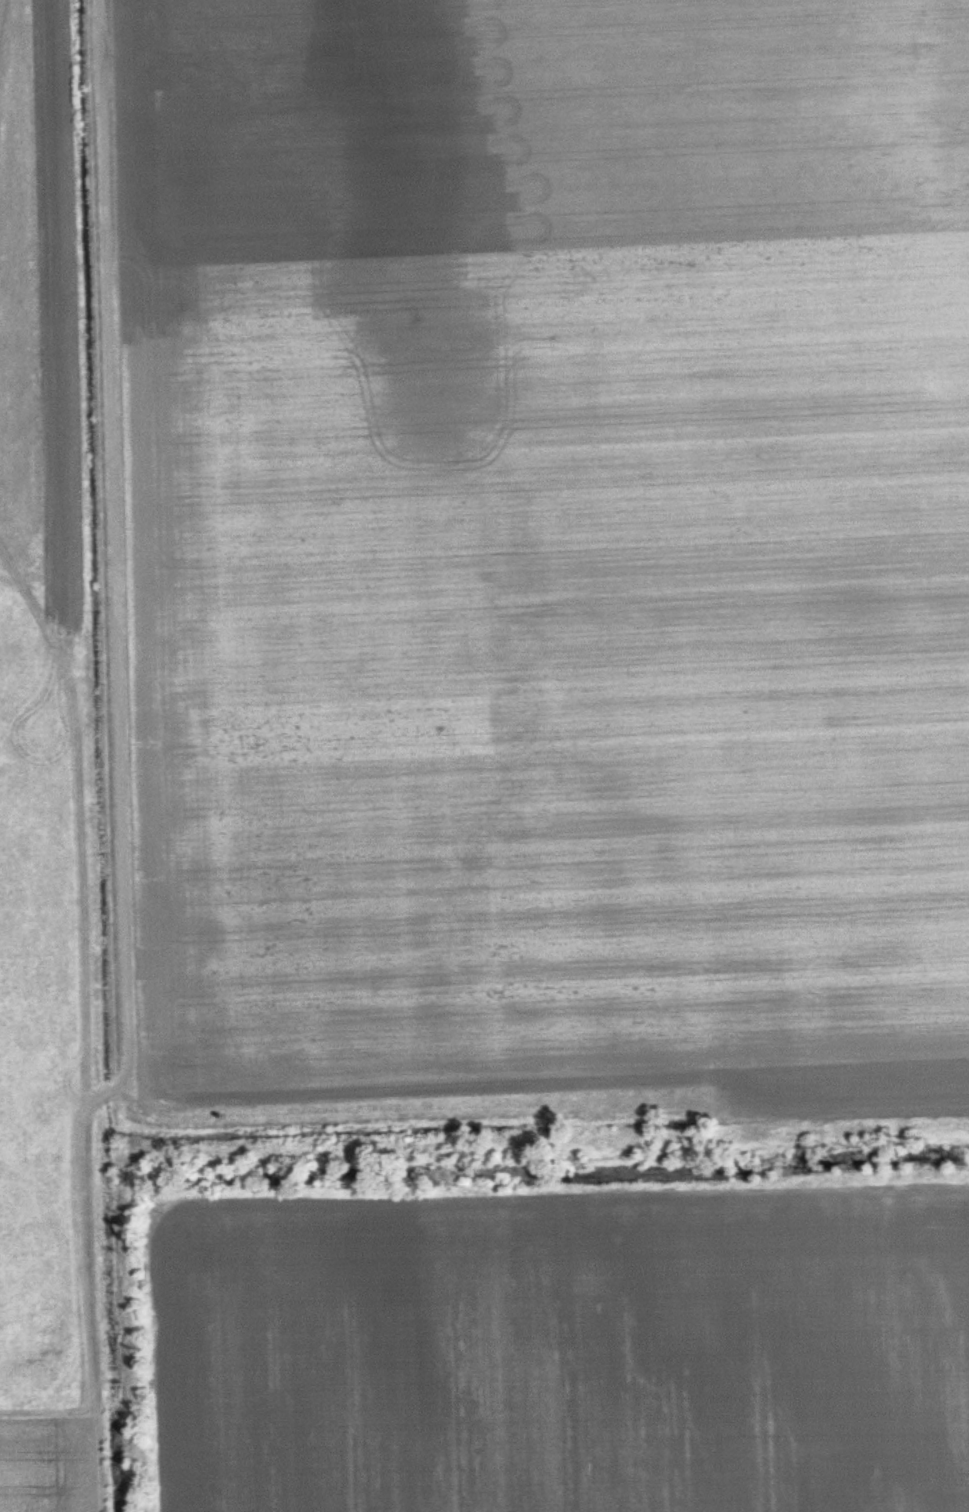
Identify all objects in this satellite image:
road: (123, 766)

